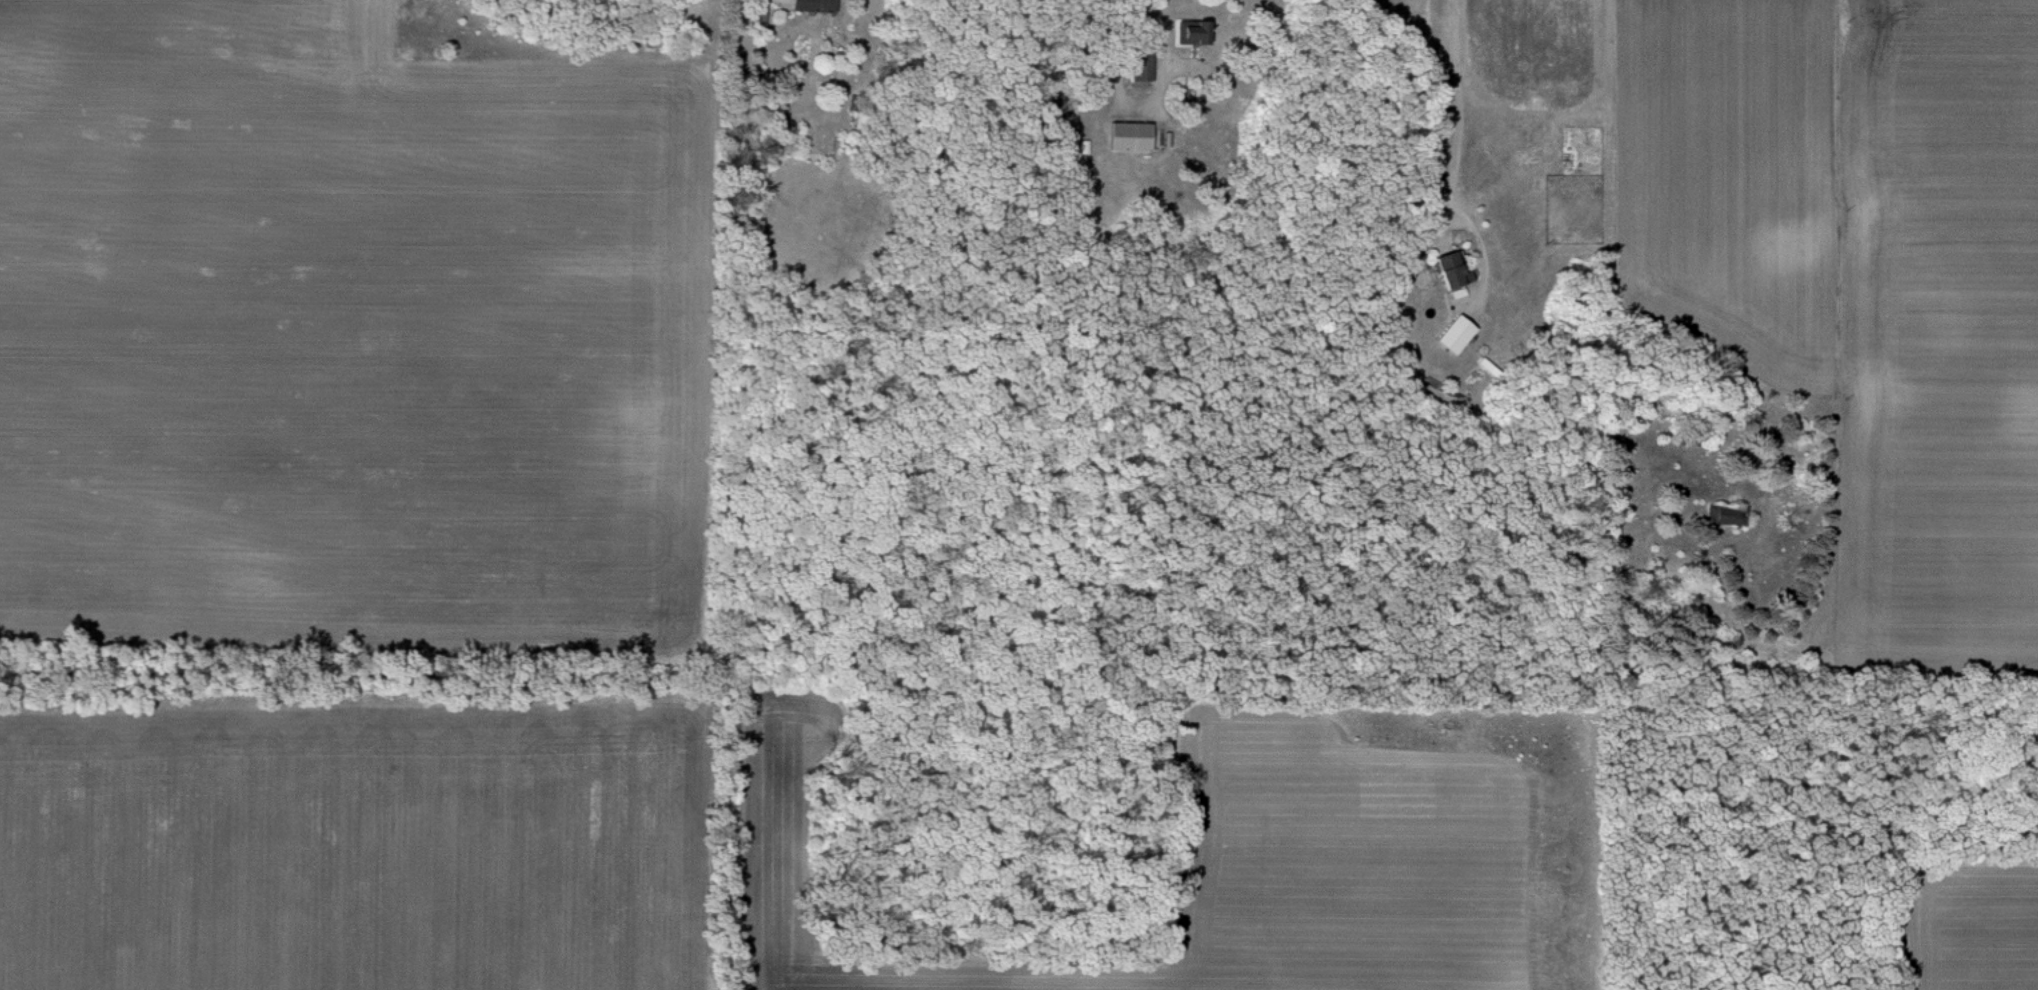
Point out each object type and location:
building: (814, 5)
building: (1194, 32)
building: (1143, 67)
building: (1130, 137)
road: (1831, 318)

